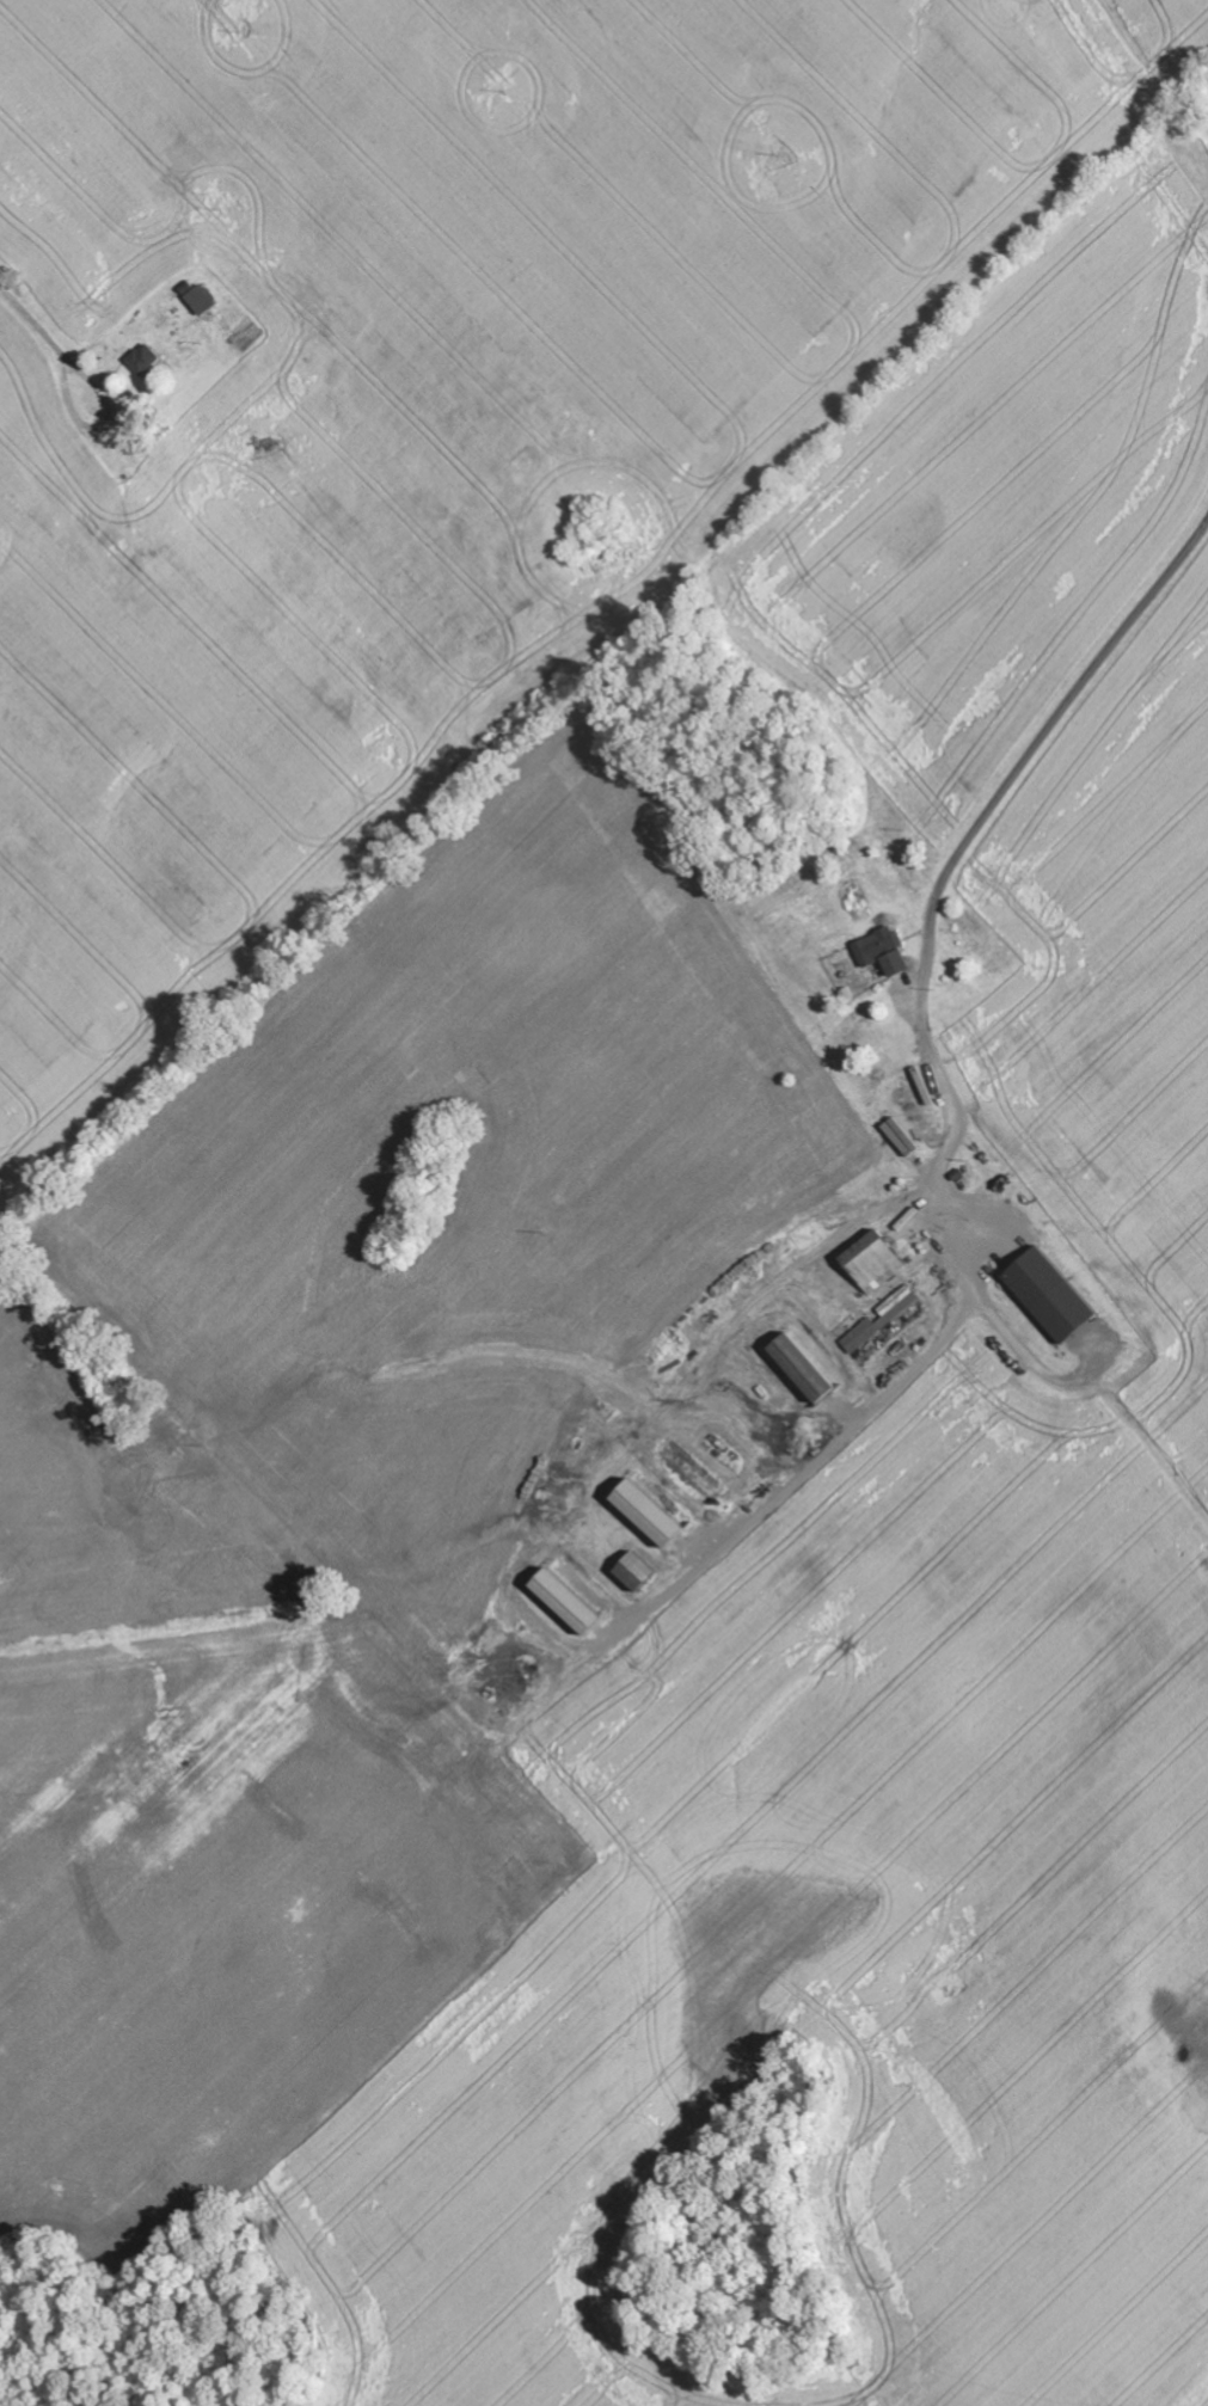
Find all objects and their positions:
building: (201, 301)
road: (38, 320)
building: (145, 361)
road: (1017, 771)
building: (883, 953)
building: (902, 1138)
building: (875, 1264)
building: (1050, 1297)
building: (882, 1320)
building: (649, 1516)
building: (637, 1575)

